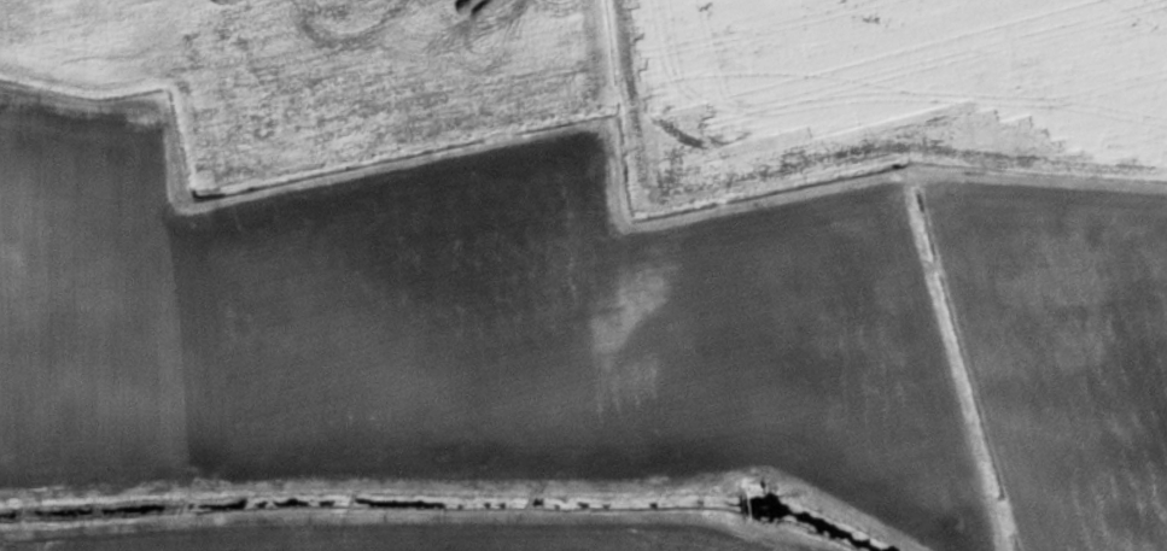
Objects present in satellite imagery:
road: (1032, 164)
crop: (583, 275)

